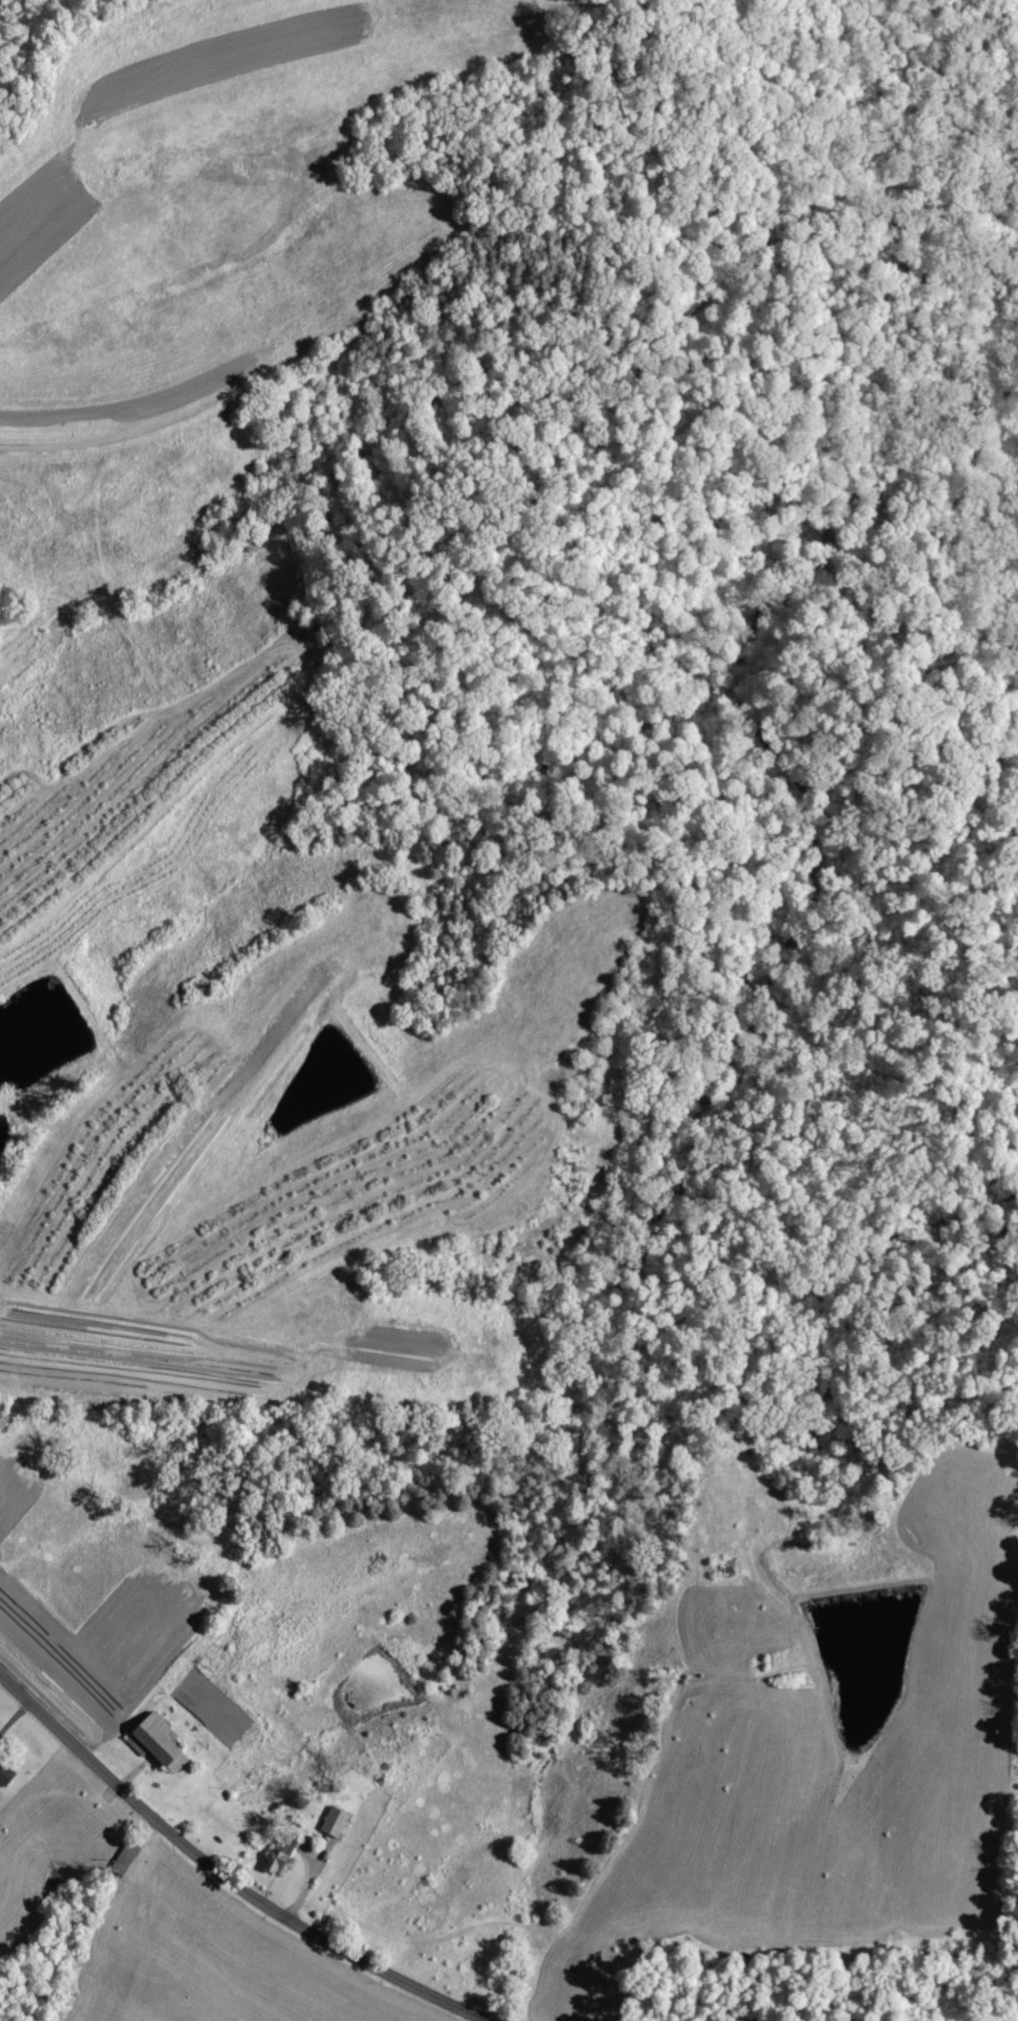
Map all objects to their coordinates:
building: (162, 1743)
building: (7, 1773)
building: (339, 1822)
building: (281, 1860)
road: (235, 1881)

